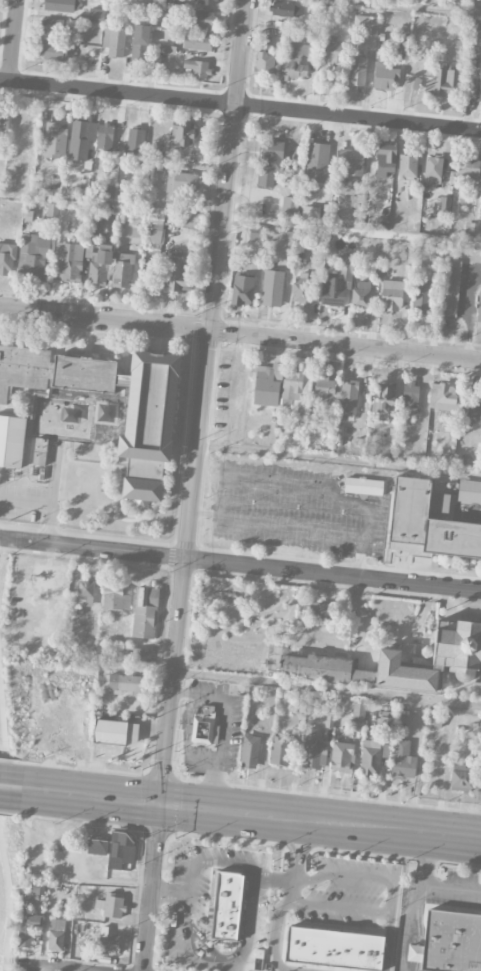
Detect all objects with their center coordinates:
building: (207, 2)
building: (55, 5)
road: (403, 8)
building: (285, 9)
building: (96, 15)
building: (204, 19)
building: (366, 25)
building: (55, 28)
building: (279, 28)
park: (6, 35)
road: (12, 40)
building: (114, 41)
building: (140, 42)
building: (197, 42)
building: (401, 49)
building: (53, 51)
building: (333, 51)
building: (296, 61)
building: (264, 64)
building: (197, 68)
building: (357, 71)
building: (384, 76)
building: (442, 82)
building: (479, 83)
road: (240, 104)
building: (4, 126)
building: (181, 133)
building: (104, 137)
building: (81, 139)
building: (55, 140)
building: (135, 140)
building: (384, 158)
building: (270, 161)
building: (352, 162)
building: (317, 163)
building: (407, 168)
building: (433, 170)
building: (467, 170)
building: (179, 185)
building: (108, 192)
building: (444, 204)
building: (289, 206)
building: (52, 210)
building: (310, 213)
building: (97, 216)
building: (65, 222)
road: (352, 229)
building: (471, 230)
building: (154, 231)
building: (255, 233)
building: (136, 235)
building: (34, 256)
building: (7, 258)
building: (71, 263)
building: (99, 267)
building: (122, 270)
building: (177, 272)
road: (216, 278)
building: (336, 287)
building: (272, 288)
building: (302, 289)
building: (452, 289)
building: (242, 290)
building: (361, 294)
building: (391, 296)
building: (420, 297)
building: (479, 309)
road: (240, 333)
building: (22, 370)
building: (267, 385)
building: (294, 386)
building: (324, 390)
building: (410, 394)
building: (443, 397)
building: (348, 398)
building: (383, 401)
building: (133, 412)
building: (471, 412)
building: (12, 441)
building: (40, 452)
road: (339, 461)
building: (364, 487)
building: (470, 490)
road: (51, 498)
road: (223, 498)
road: (25, 503)
road: (206, 514)
parking lot: (282, 515)
building: (428, 522)
road: (92, 548)
road: (17, 549)
road: (1, 559)
road: (332, 574)
building: (85, 593)
building: (117, 598)
building: (320, 611)
building: (145, 613)
road: (387, 635)
building: (139, 655)
building: (436, 658)
building: (317, 667)
road: (244, 680)
building: (124, 683)
road: (196, 701)
building: (357, 717)
building: (434, 720)
building: (387, 723)
building: (202, 727)
building: (115, 733)
road: (2, 739)
building: (281, 750)
building: (250, 751)
building: (313, 751)
road: (223, 754)
building: (372, 756)
building: (342, 757)
building: (403, 761)
road: (164, 764)
building: (461, 778)
road: (11, 789)
traffic signals: (161, 803)
road: (252, 813)
building: (97, 847)
building: (121, 850)
road: (275, 879)
building: (35, 888)
road: (171, 889)
road: (451, 889)
road: (289, 896)
road: (391, 899)
road: (414, 901)
building: (110, 906)
building: (227, 906)
road: (9, 908)
building: (27, 930)
building: (56, 935)
road: (183, 940)
road: (389, 942)
building: (107, 943)
building: (449, 943)
building: (334, 949)
road: (47, 967)
road: (239, 969)

